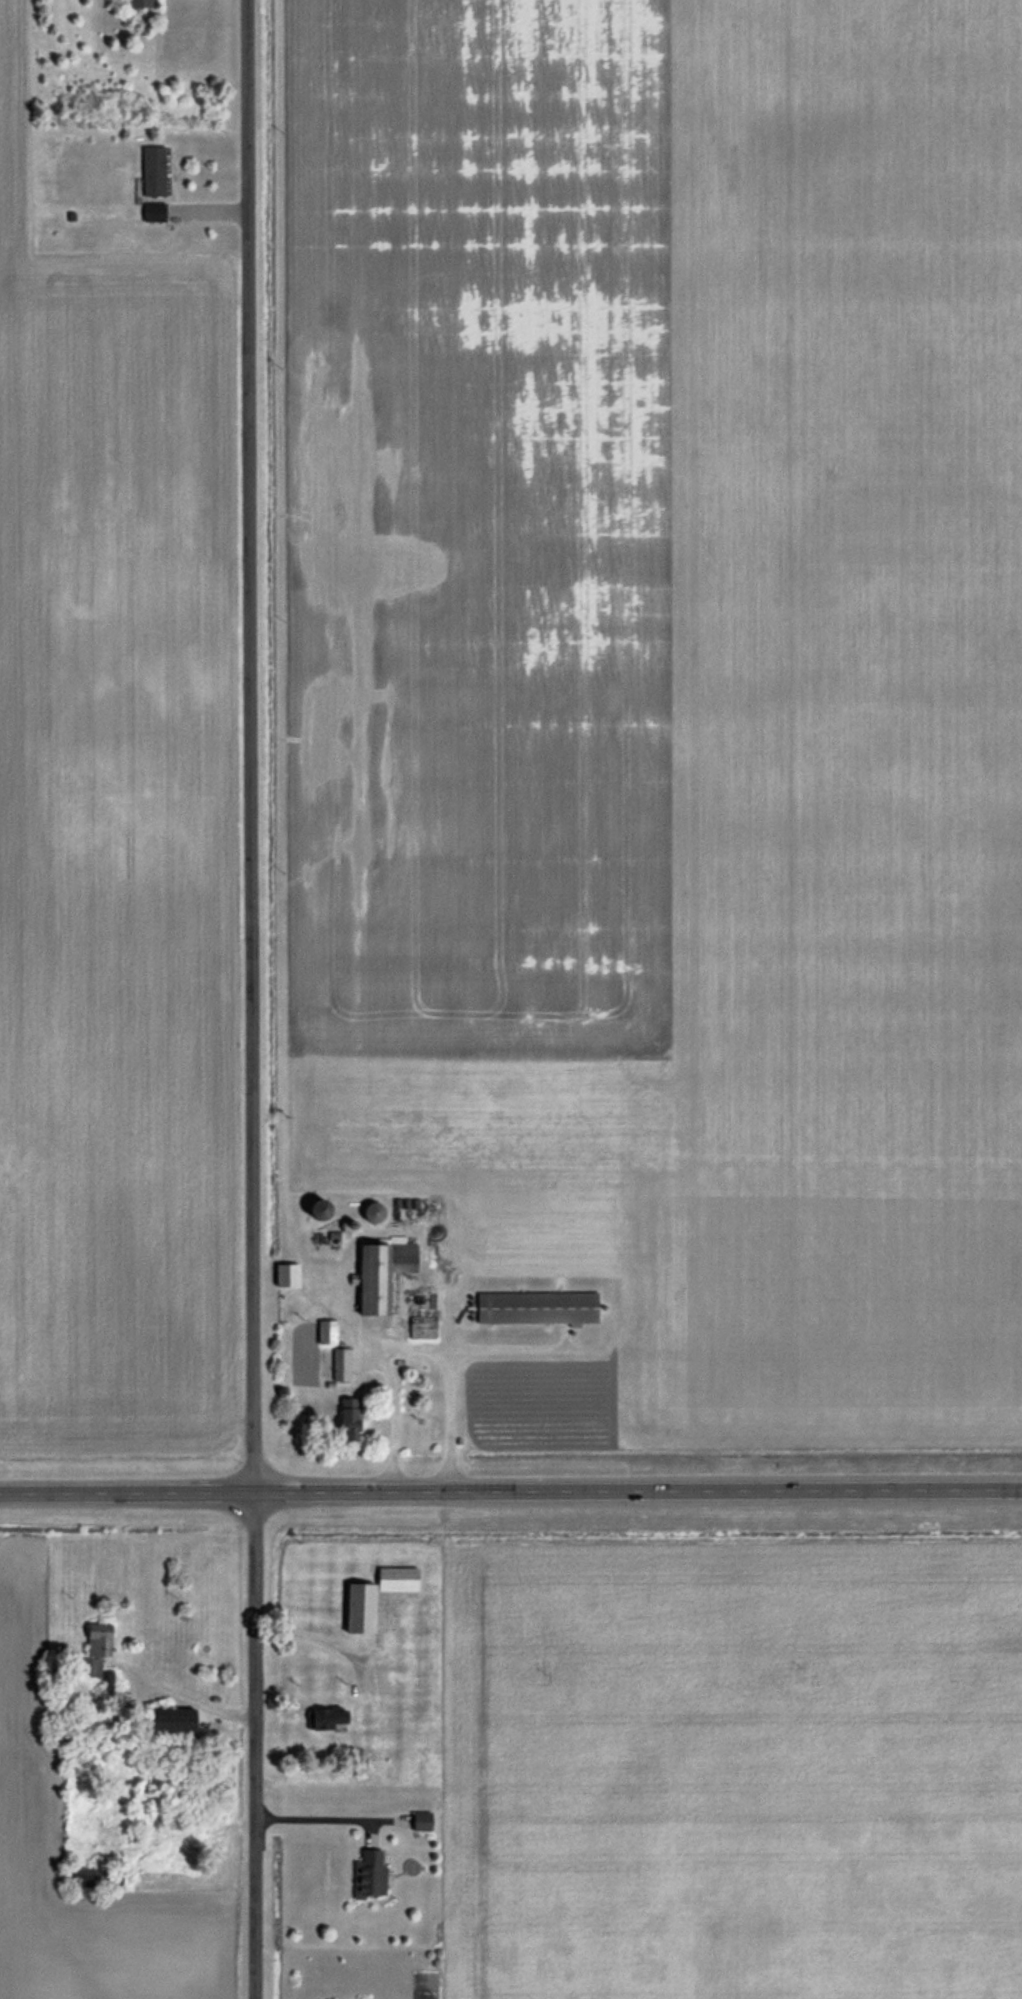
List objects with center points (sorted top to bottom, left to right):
building: (138, 4)
building: (151, 171)
road: (251, 746)
building: (314, 1208)
building: (370, 1212)
building: (379, 1274)
building: (283, 1292)
building: (535, 1307)
building: (421, 1327)
building: (324, 1331)
road: (414, 1348)
building: (340, 1364)
building: (345, 1419)
road: (510, 1492)
building: (394, 1578)
building: (356, 1608)
building: (94, 1649)
building: (324, 1718)
building: (166, 1724)
road: (255, 1745)
road: (314, 1818)
building: (419, 1820)
building: (366, 1872)

